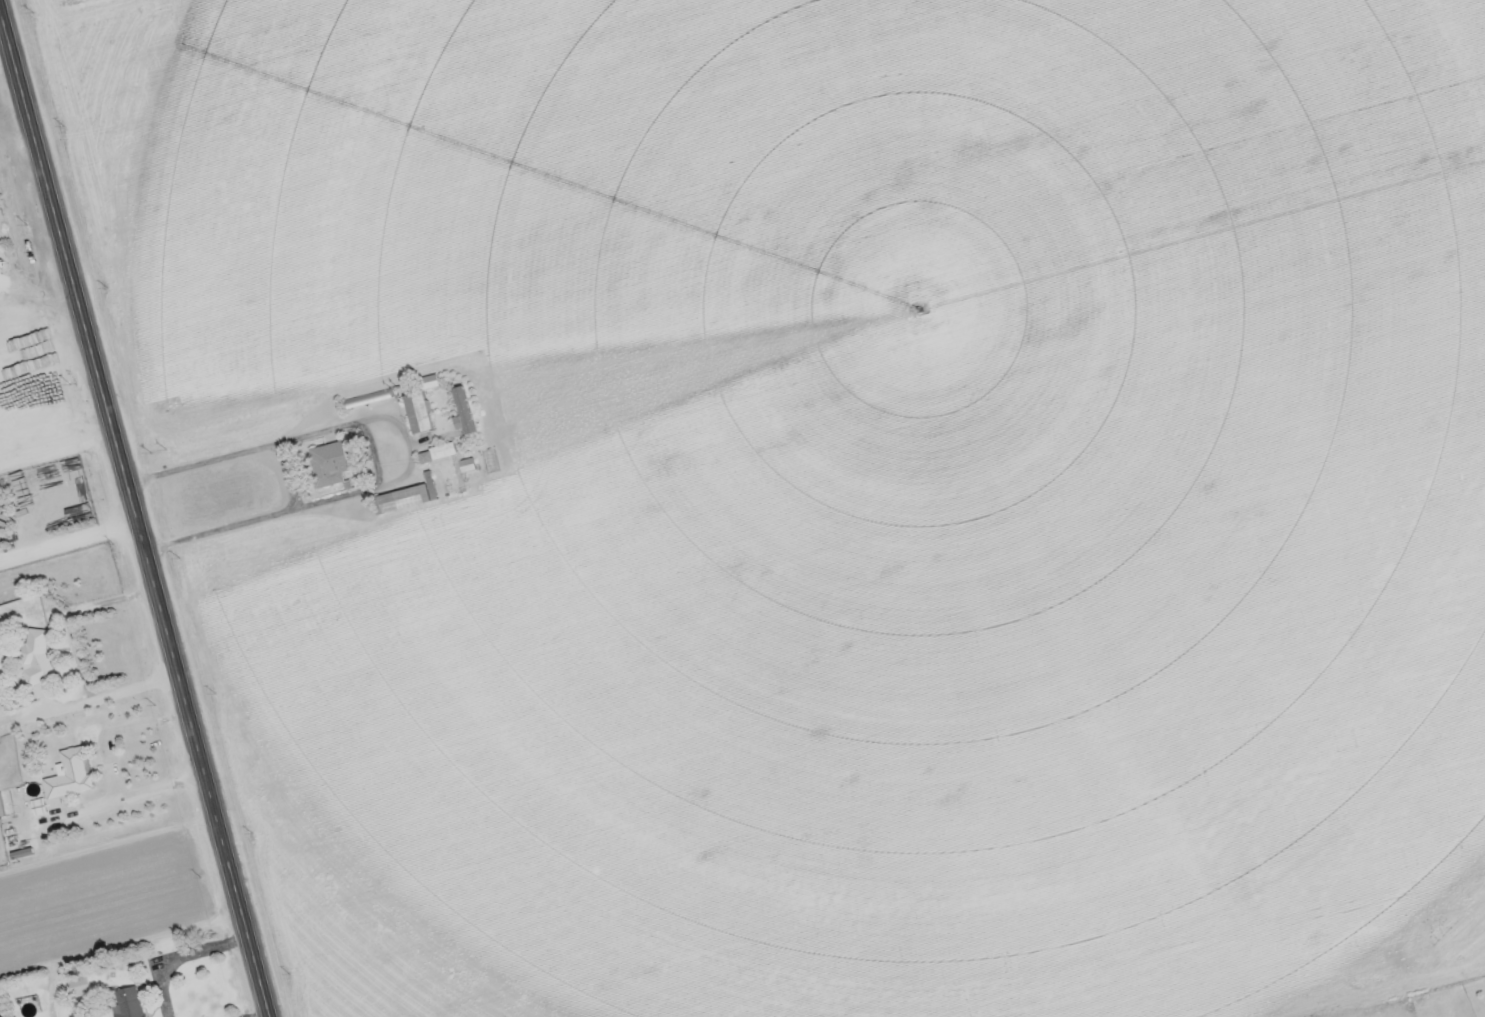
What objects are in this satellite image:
building: (1412, 47)
building: (15, 278)
building: (438, 382)
building: (369, 399)
building: (418, 414)
road: (407, 446)
building: (442, 452)
building: (329, 464)
building: (402, 499)
road: (135, 515)
building: (38, 667)
building: (70, 774)
road: (180, 953)
building: (79, 986)
building: (127, 1002)
building: (29, 1007)
road: (254, 1013)

